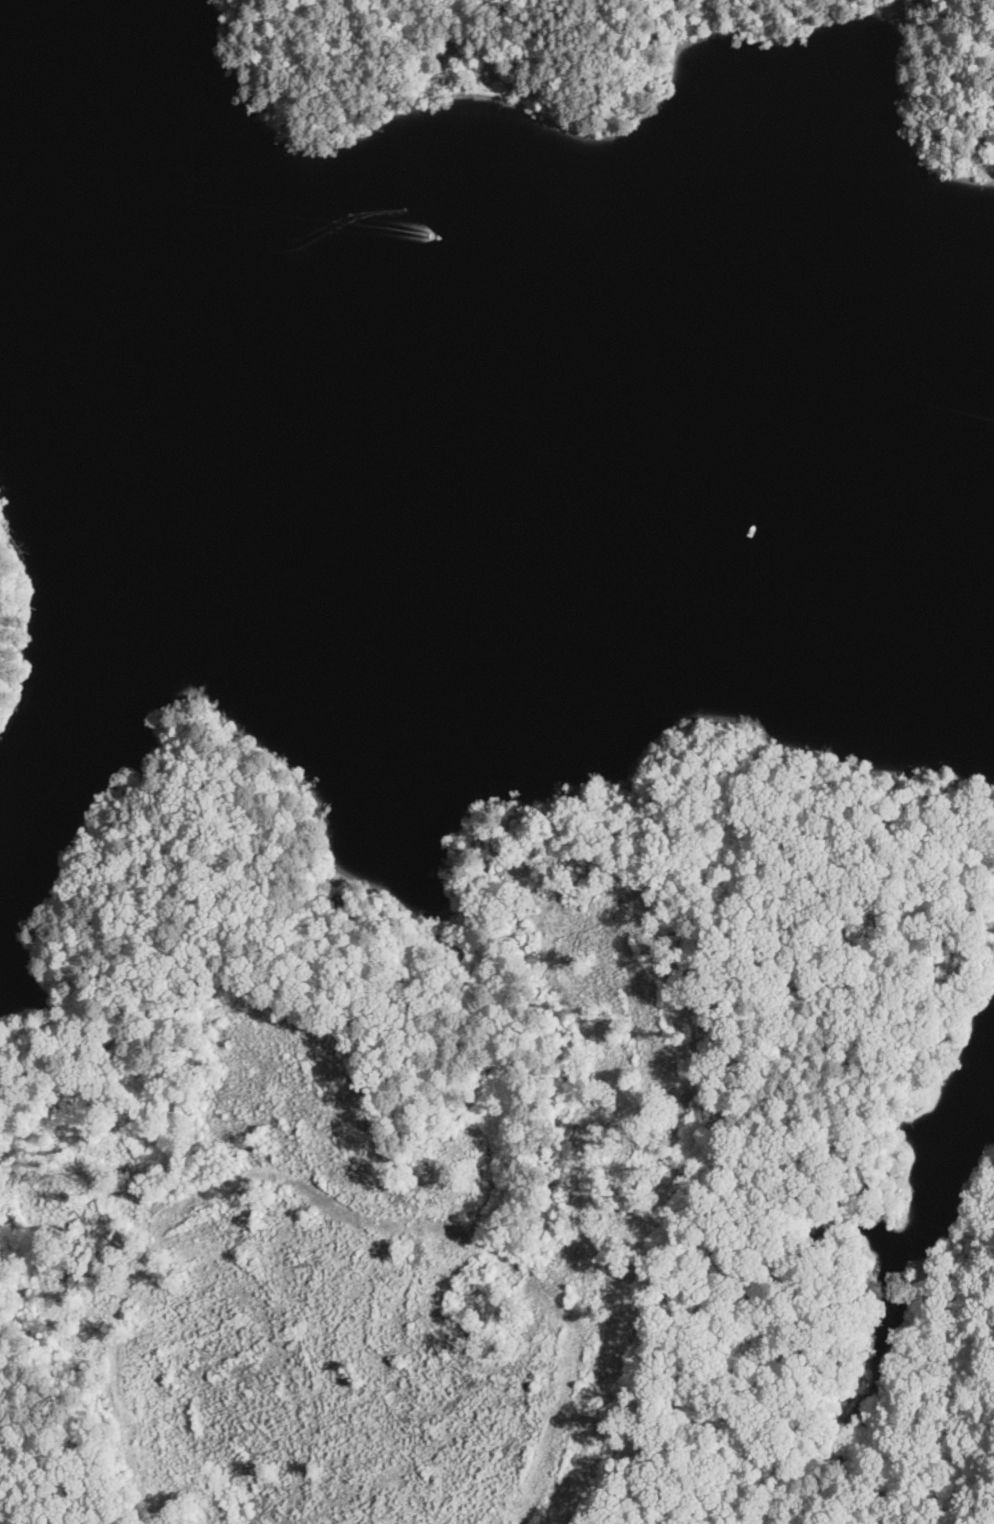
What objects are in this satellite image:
park: (587, 74)
river: (190, 222)
river: (687, 442)
road: (721, 832)
road: (907, 1411)

